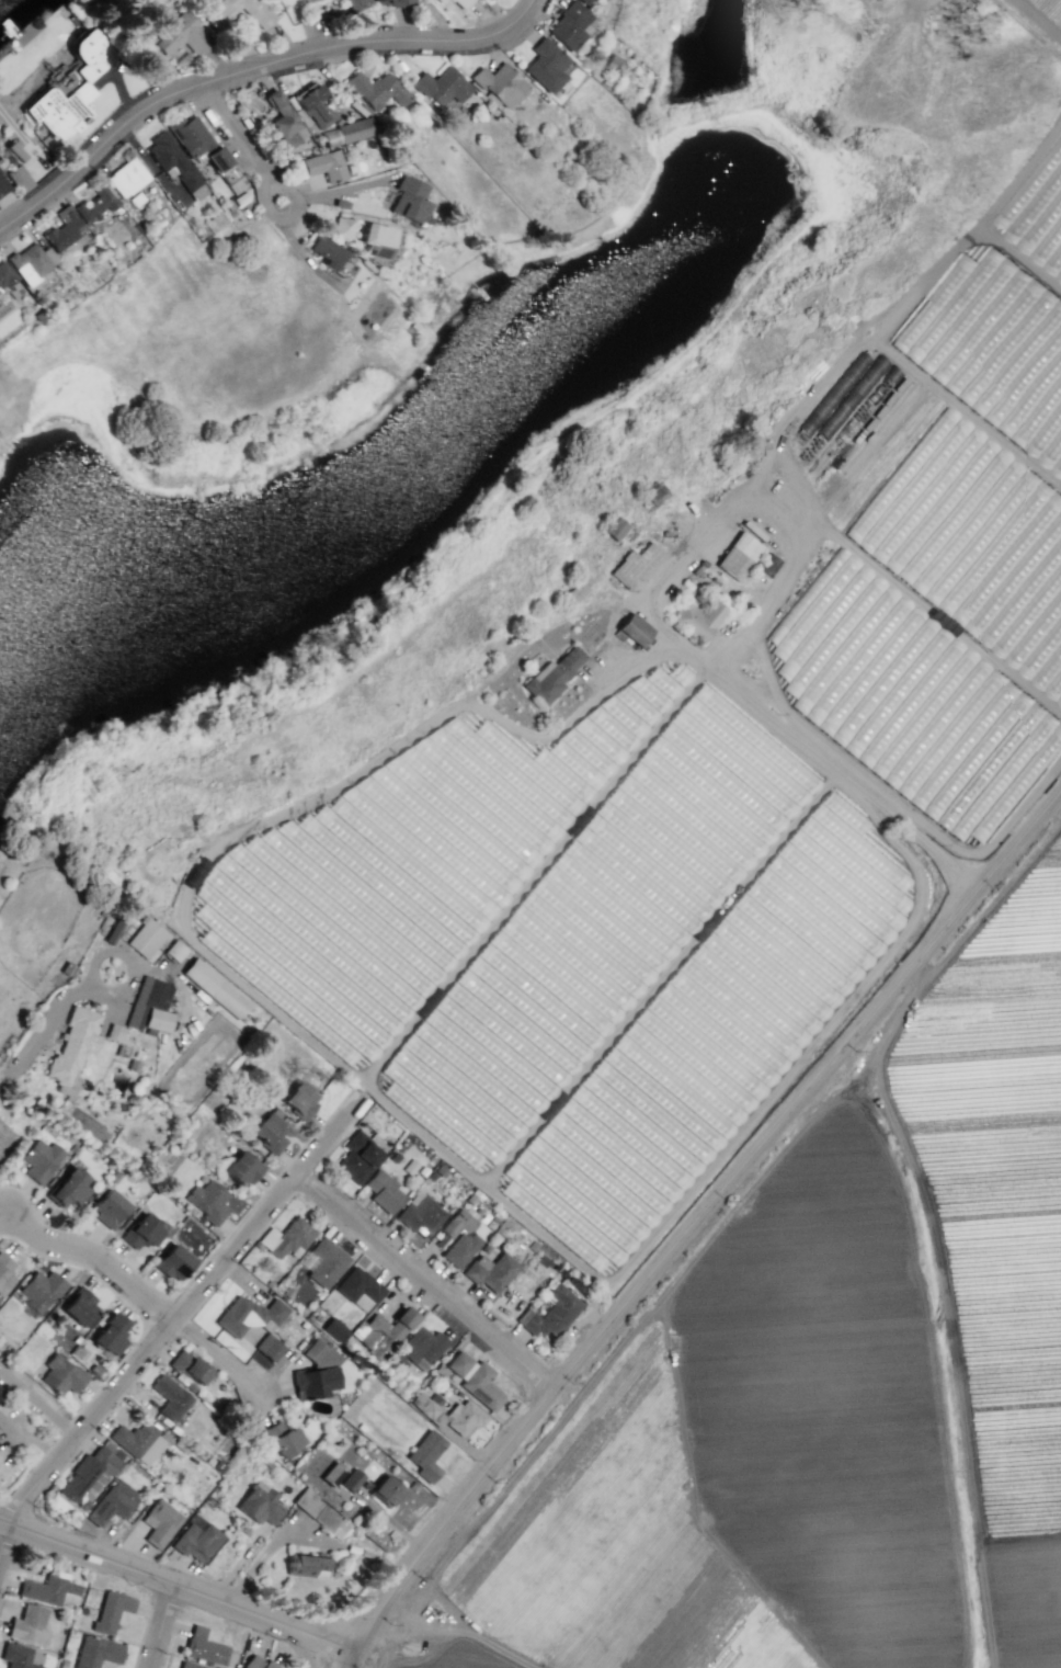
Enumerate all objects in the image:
building: (372, 0)
building: (449, 0)
building: (441, 1)
building: (584, 1)
building: (391, 2)
building: (461, 3)
building: (354, 4)
building: (233, 11)
crop: (1043, 14)
building: (569, 25)
road: (1030, 26)
building: (181, 34)
crop: (725, 46)
building: (546, 63)
road: (248, 68)
building: (82, 84)
building: (441, 84)
building: (500, 84)
building: (376, 89)
building: (313, 104)
building: (285, 122)
building: (347, 132)
road: (236, 134)
building: (204, 150)
building: (14, 151)
building: (174, 163)
building: (324, 166)
building: (126, 177)
building: (19, 178)
building: (2, 188)
building: (136, 198)
building: (240, 198)
building: (409, 200)
road: (262, 203)
building: (228, 205)
building: (95, 207)
building: (215, 222)
building: (342, 227)
building: (62, 229)
building: (374, 239)
building: (330, 254)
building: (30, 262)
building: (991, 274)
building: (10, 282)
building: (37, 315)
park: (258, 434)
building: (614, 527)
road: (817, 533)
building: (738, 556)
building: (634, 565)
crop: (422, 568)
building: (925, 588)
building: (698, 619)
building: (631, 629)
building: (1019, 643)
crop: (564, 659)
building: (552, 674)
building: (996, 773)
road: (844, 775)
building: (921, 797)
building: (109, 929)
building: (146, 938)
building: (173, 950)
building: (214, 987)
building: (265, 988)
building: (149, 1005)
park: (102, 1008)
road: (46, 1018)
building: (113, 1032)
building: (72, 1047)
crop: (820, 1098)
building: (299, 1099)
building: (269, 1133)
building: (357, 1158)
building: (39, 1159)
building: (241, 1168)
building: (67, 1187)
building: (383, 1190)
building: (207, 1201)
building: (107, 1207)
building: (420, 1214)
road: (699, 1214)
building: (140, 1232)
building: (461, 1236)
building: (285, 1237)
building: (321, 1261)
building: (172, 1262)
road: (90, 1263)
building: (490, 1270)
building: (4, 1272)
road: (420, 1283)
building: (356, 1285)
building: (39, 1290)
building: (79, 1306)
road: (174, 1306)
building: (550, 1313)
building: (248, 1314)
building: (333, 1329)
building: (384, 1330)
building: (110, 1335)
building: (269, 1347)
building: (420, 1348)
building: (312, 1350)
road: (213, 1351)
building: (457, 1362)
building: (189, 1366)
building: (60, 1374)
building: (313, 1382)
building: (481, 1386)
building: (0, 1389)
building: (170, 1397)
road: (38, 1403)
building: (449, 1414)
building: (283, 1438)
building: (138, 1441)
building: (425, 1455)
building: (87, 1472)
building: (351, 1479)
building: (385, 1490)
building: (112, 1502)
building: (259, 1504)
building: (319, 1513)
building: (159, 1522)
road: (2, 1523)
road: (2, 1534)
building: (196, 1539)
building: (307, 1565)
building: (49, 1589)
road: (178, 1589)
building: (110, 1610)
building: (27, 1624)
road: (164, 1627)
park: (1027, 1642)
building: (203, 1647)
road: (301, 1647)
building: (95, 1652)
building: (16, 1656)
road: (349, 1659)
building: (256, 1663)
building: (189, 1665)

